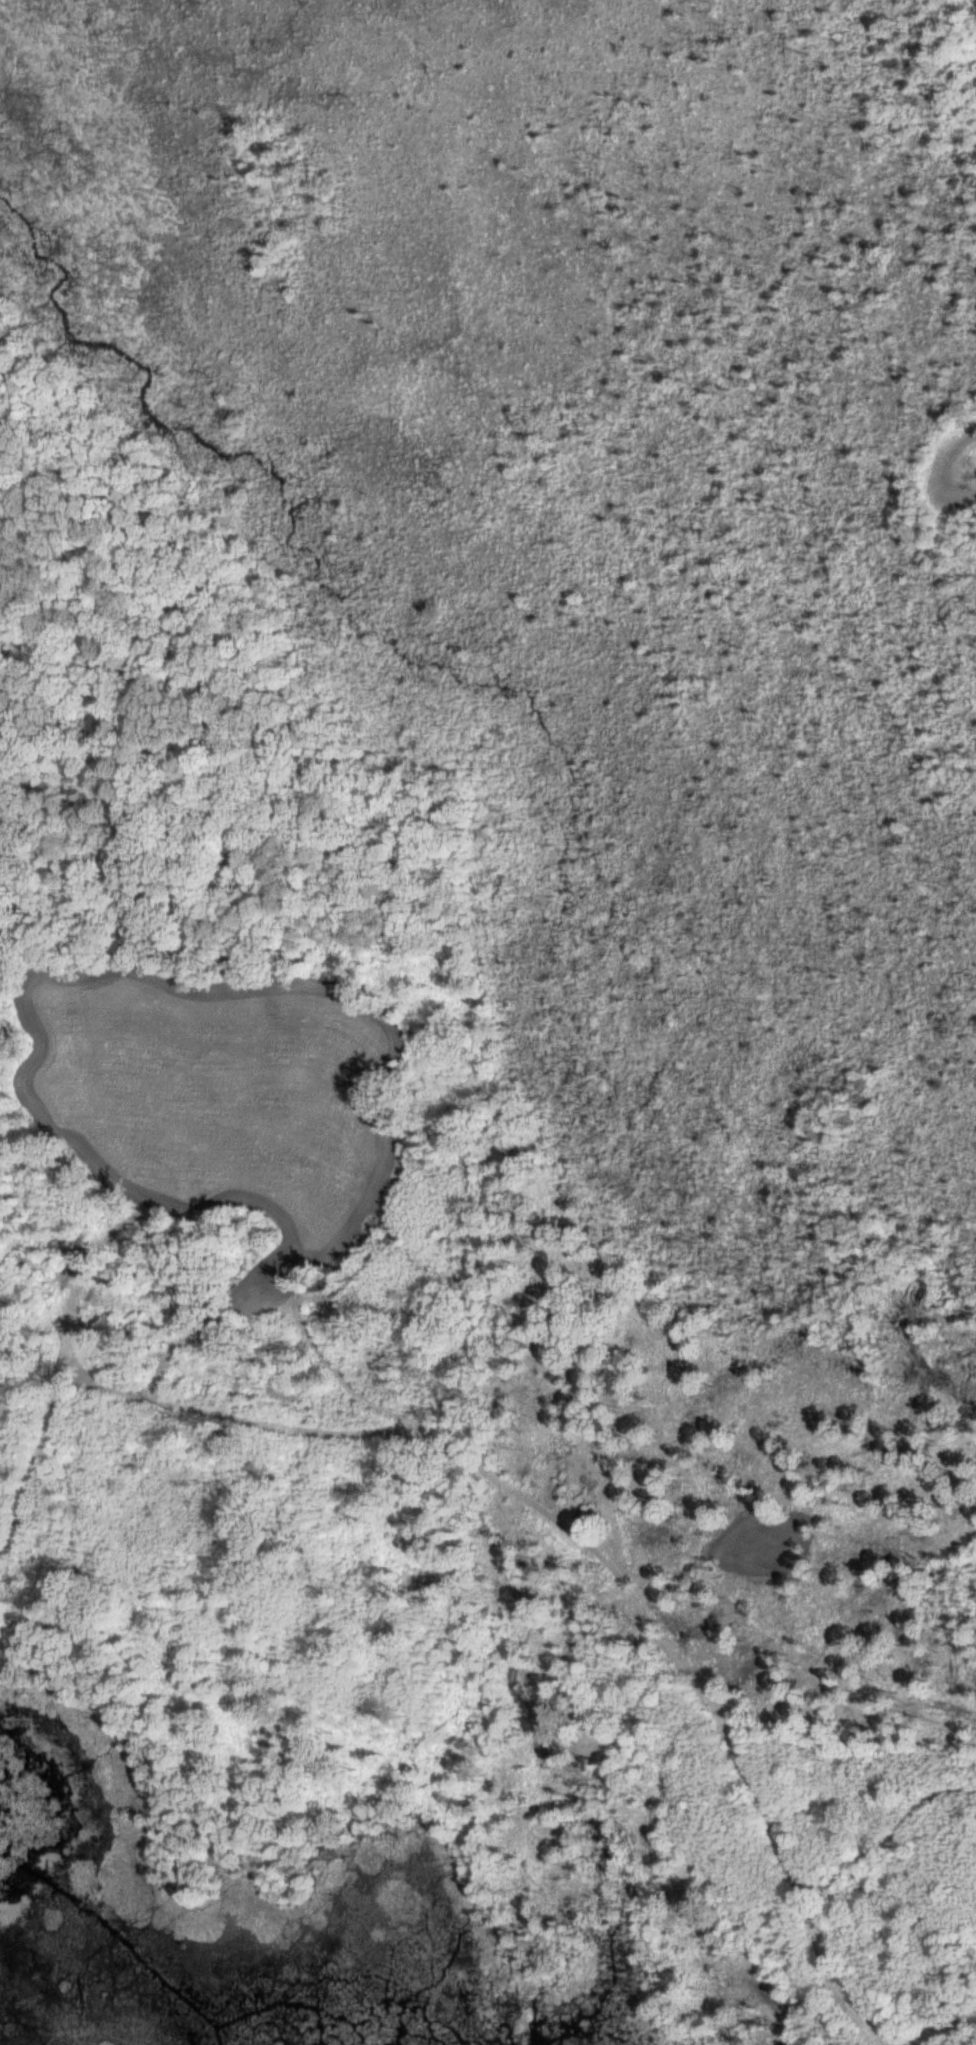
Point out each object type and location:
road: (946, 467)
road: (748, 1766)

